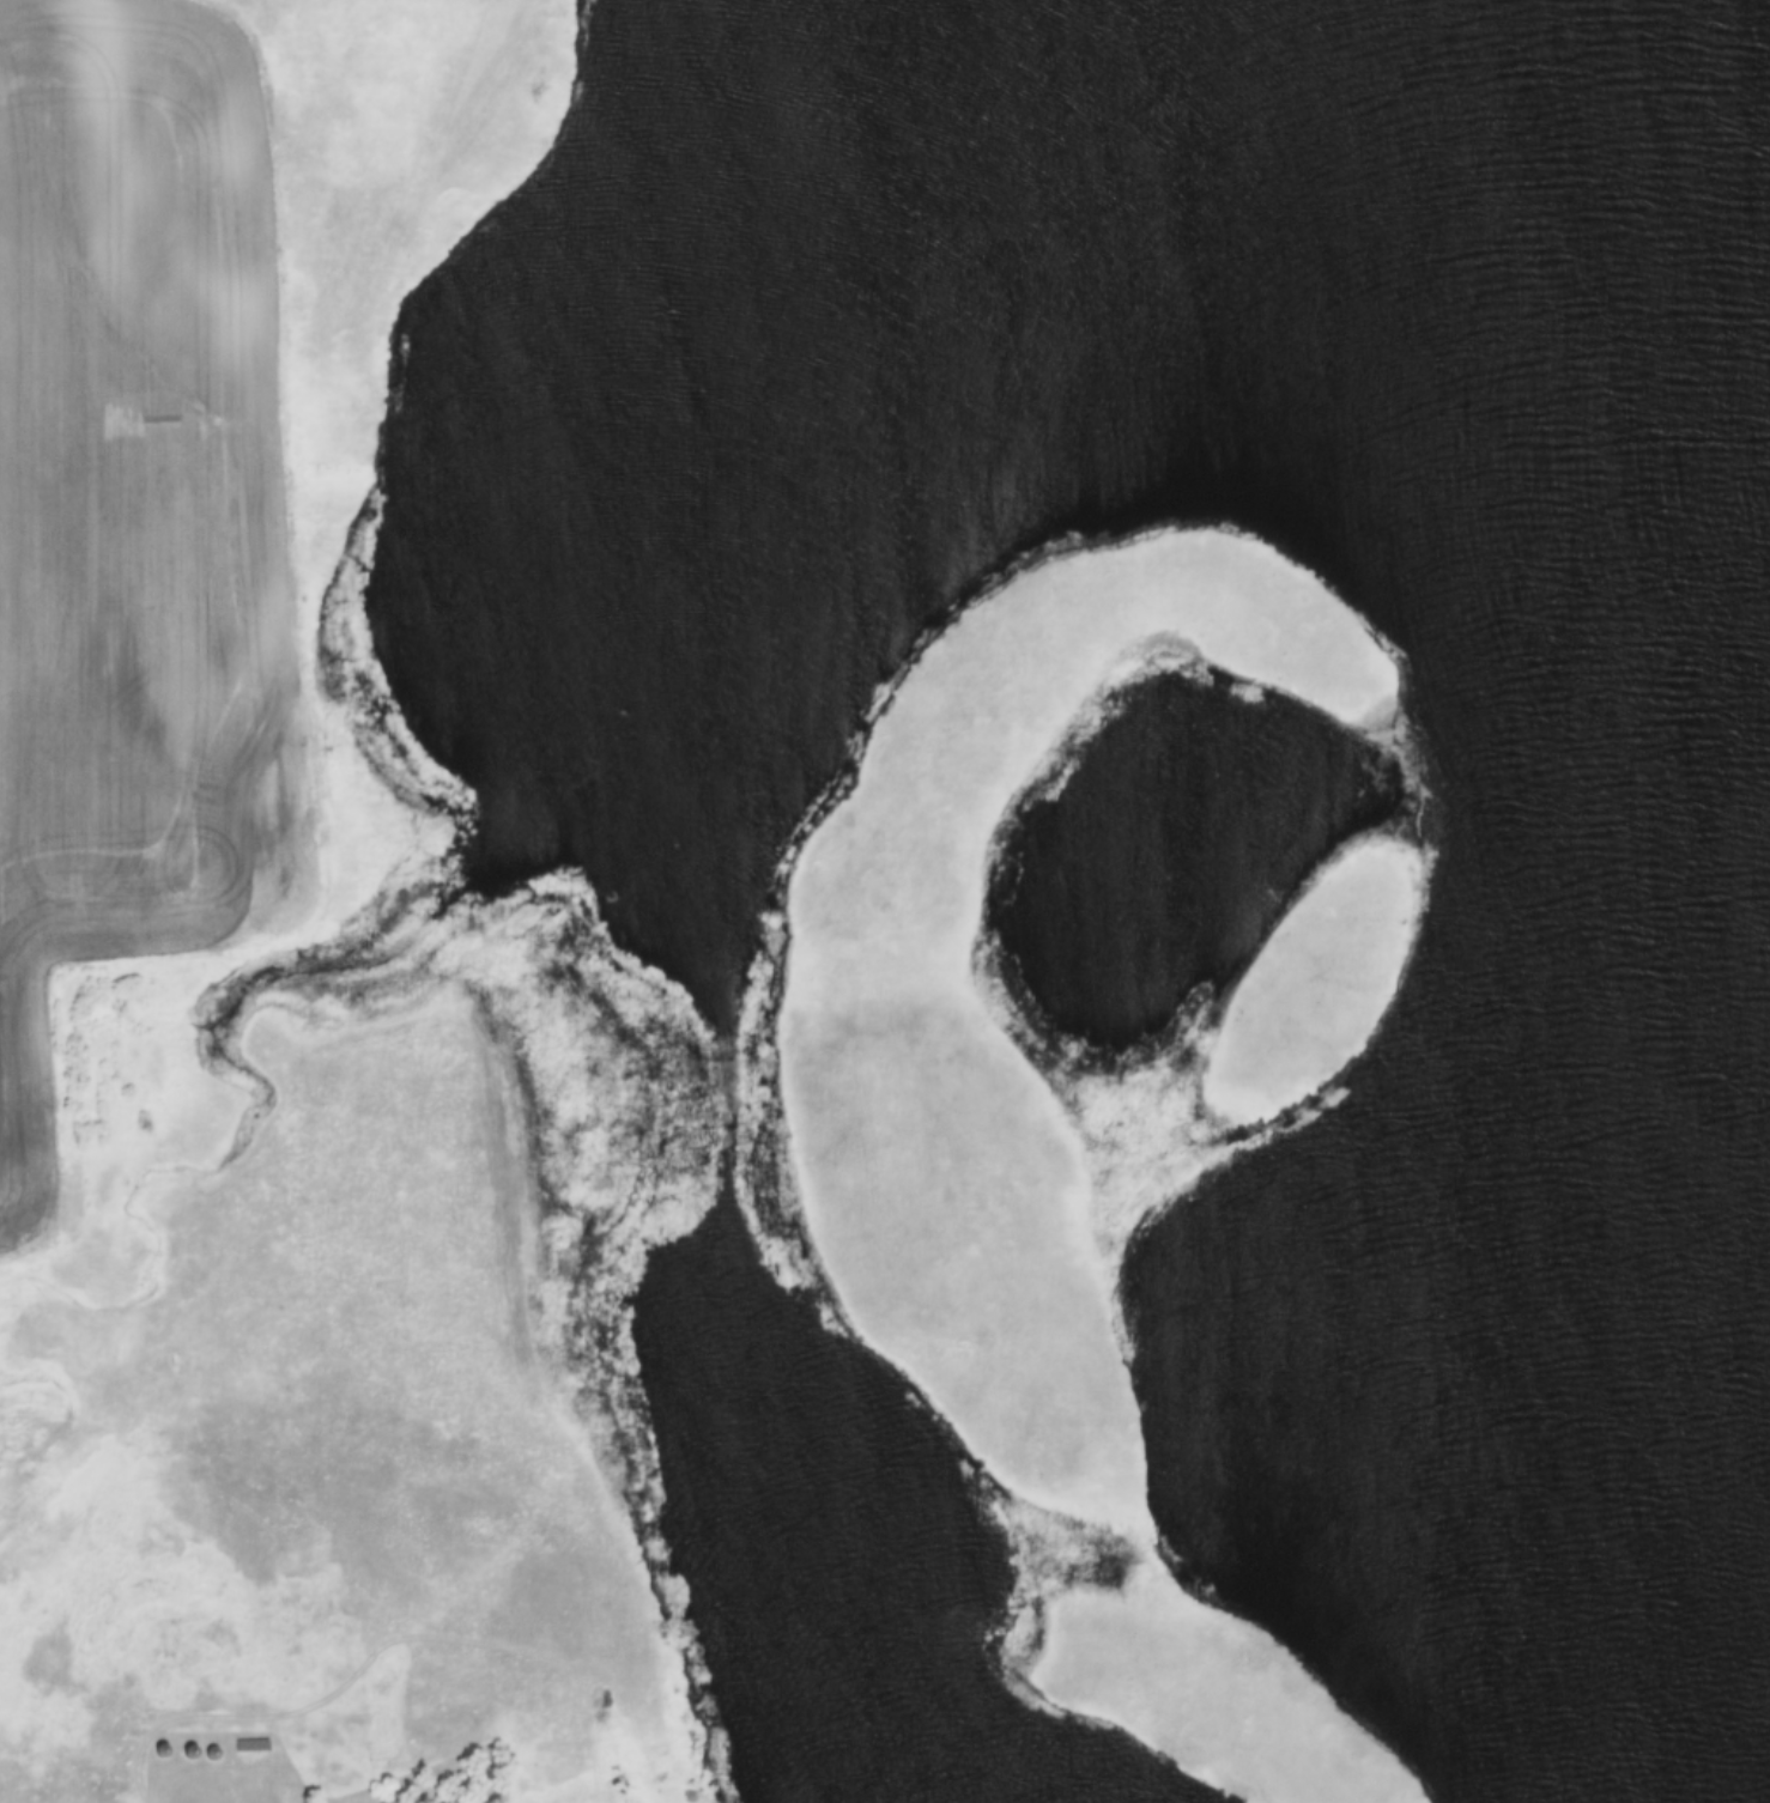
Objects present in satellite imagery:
building: (301, 1584)
building: (249, 1744)

